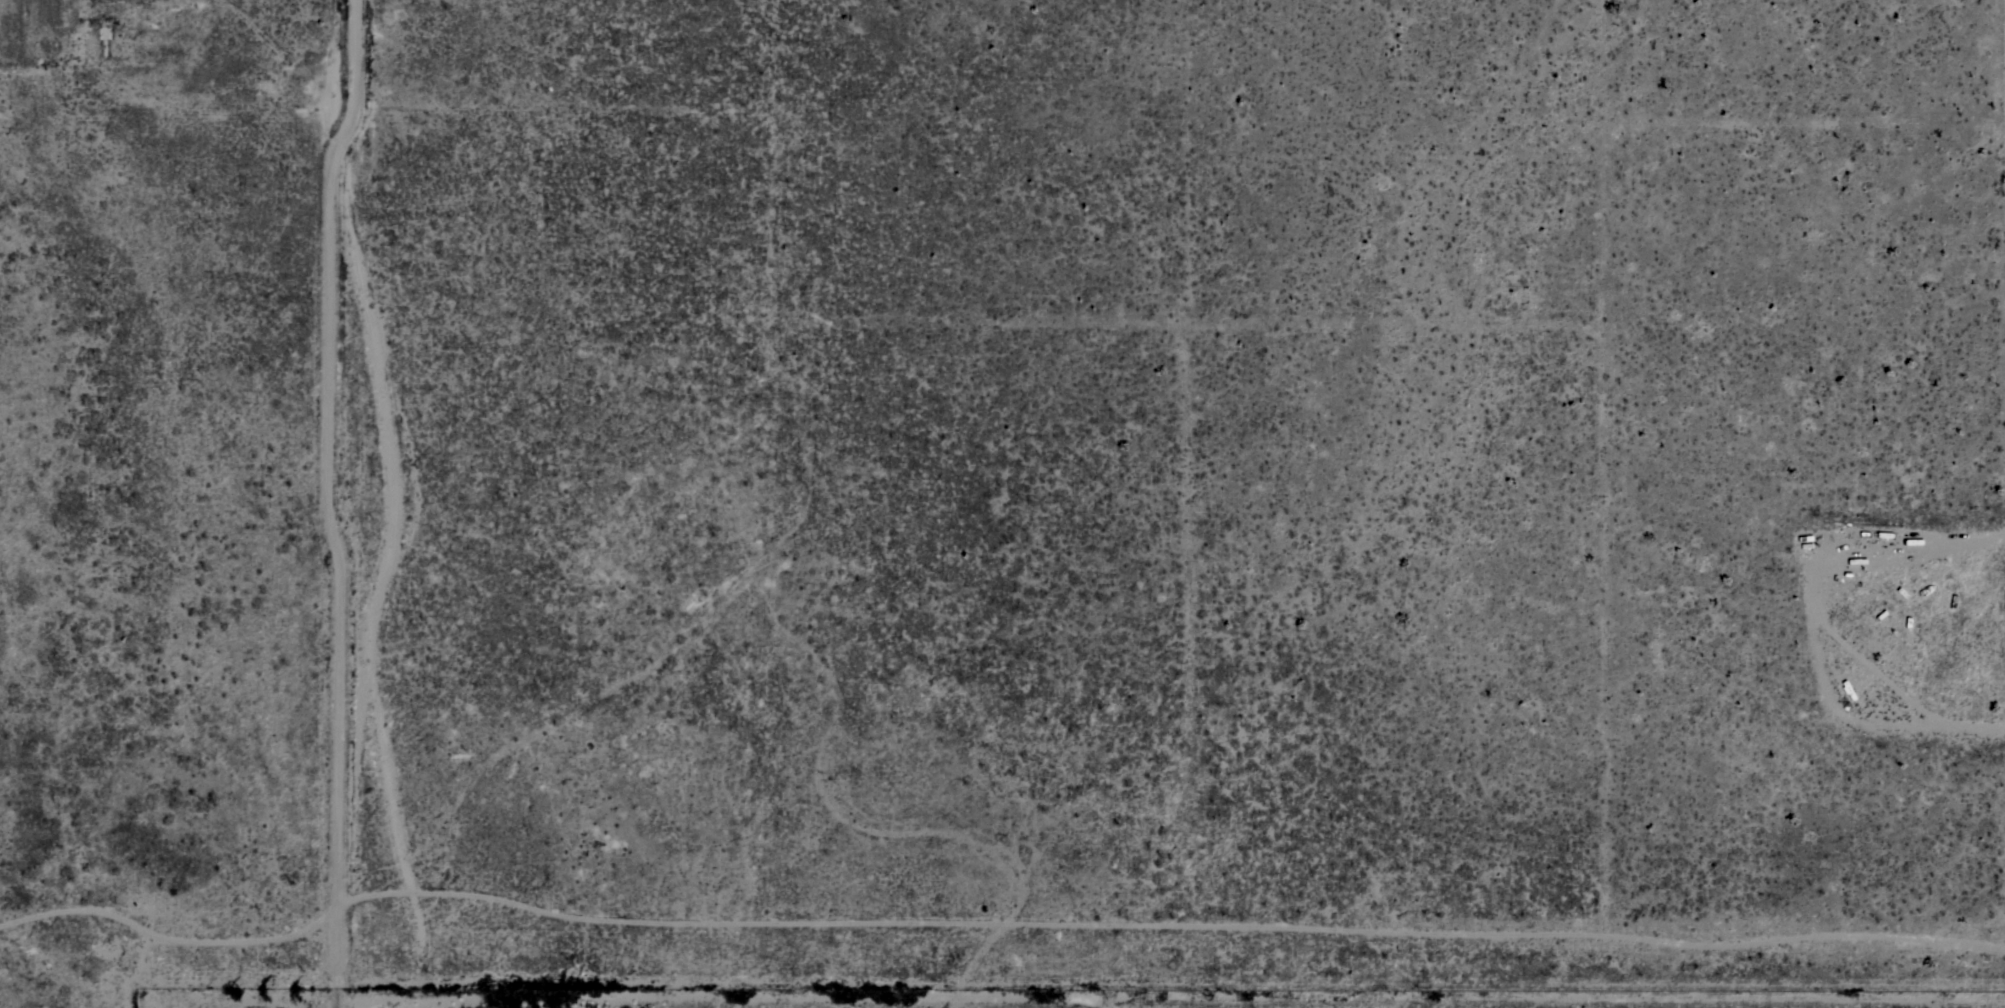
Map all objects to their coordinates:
road: (332, 502)
road: (1173, 924)

